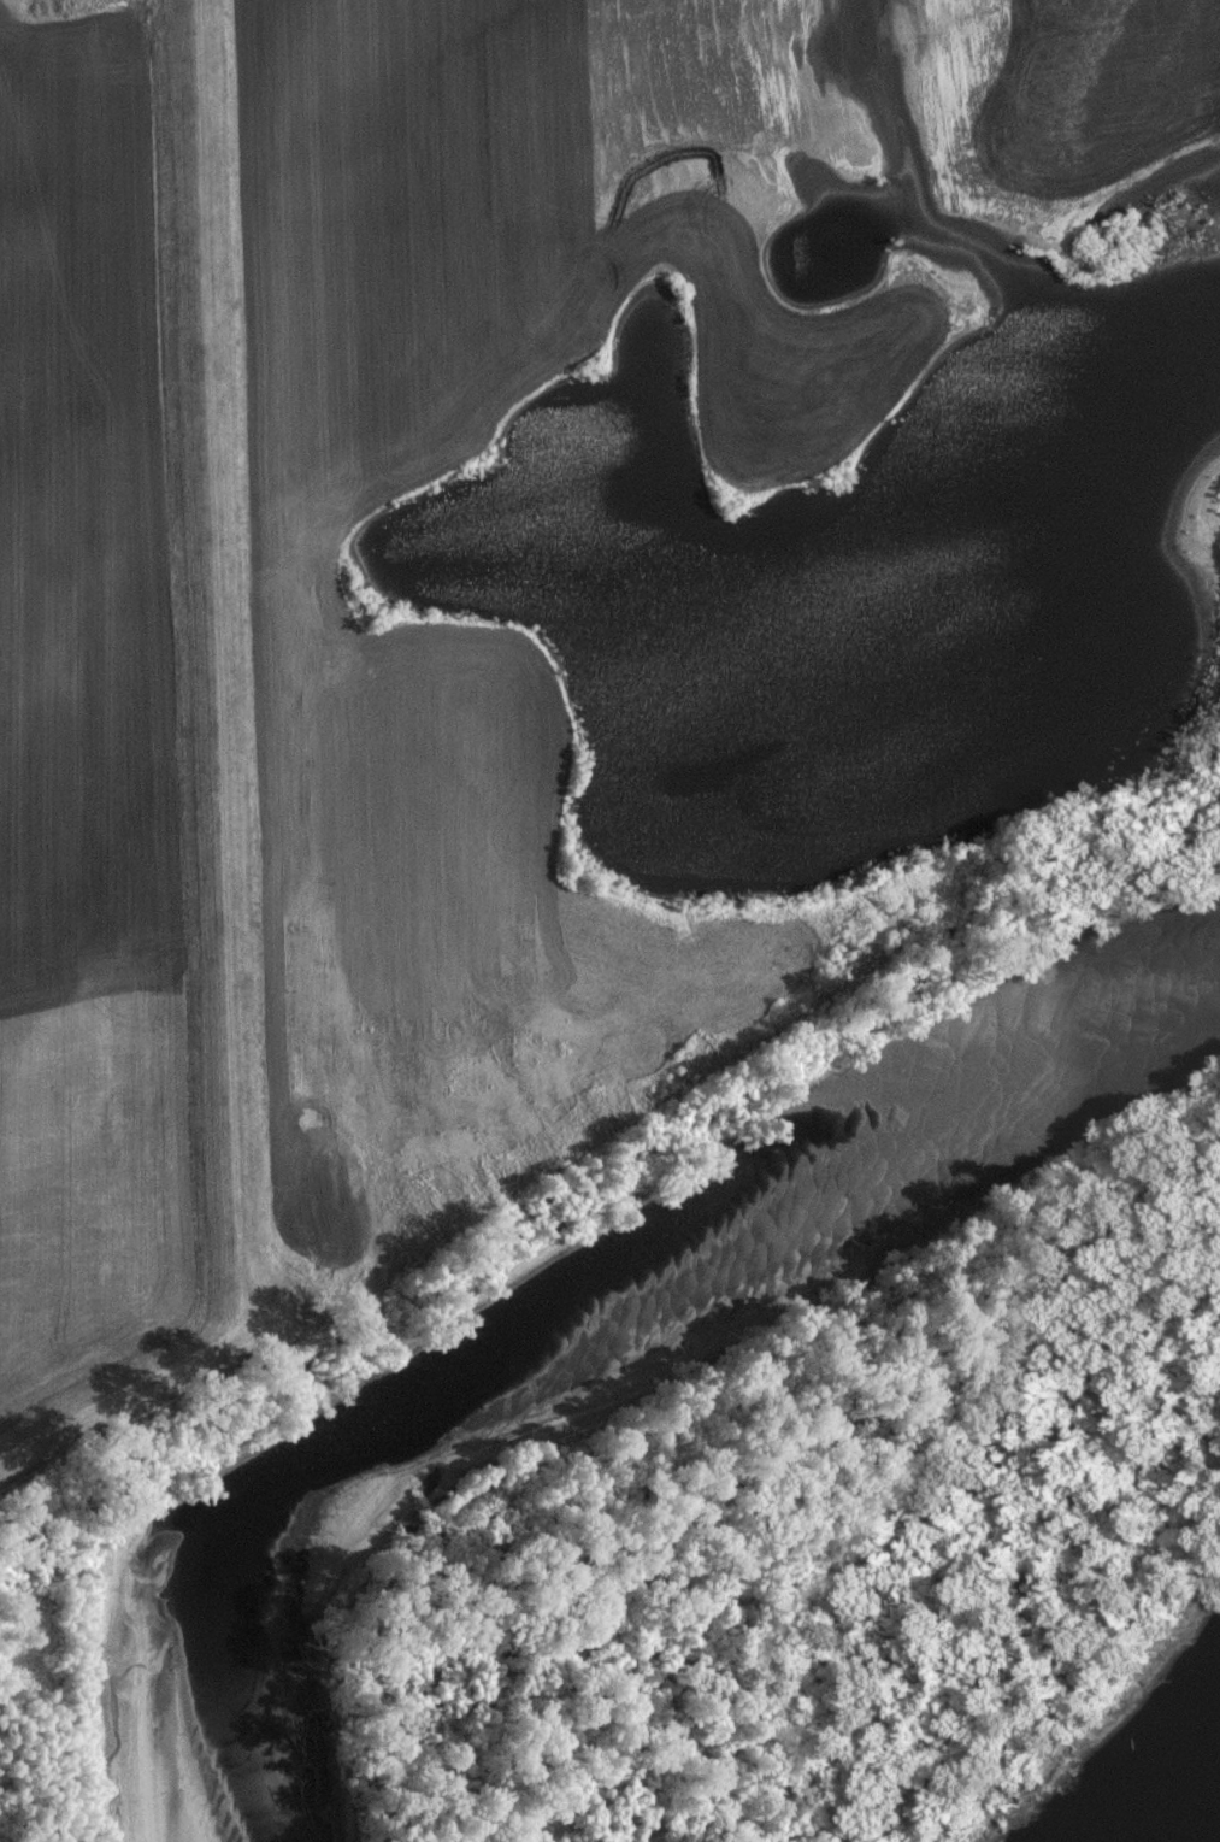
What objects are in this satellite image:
road: (232, 806)

